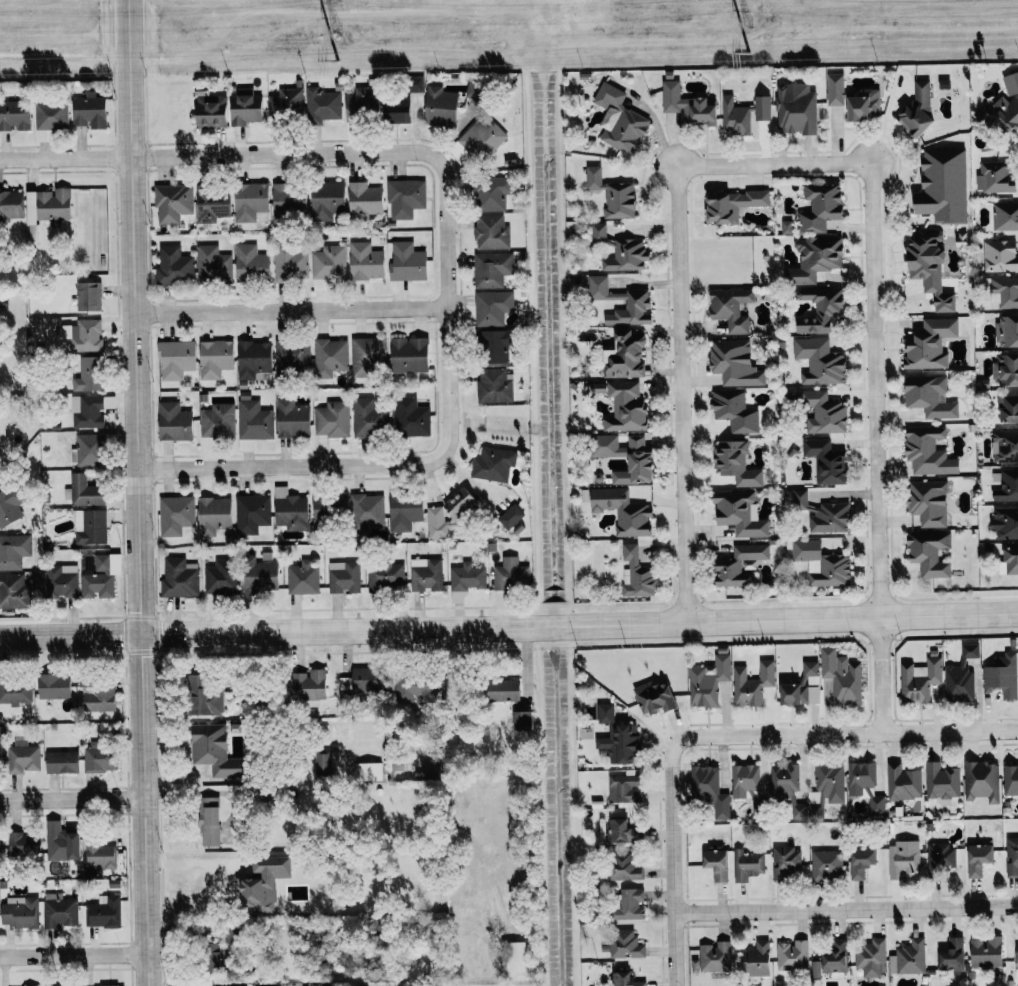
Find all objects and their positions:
power tower: (335, 2)
power tower: (747, 22)
power tower: (335, 30)
power tower: (747, 52)
power tower: (335, 60)
building: (1011, 83)
building: (416, 84)
building: (835, 89)
building: (363, 103)
building: (286, 104)
building: (863, 104)
building: (322, 105)
building: (687, 105)
building: (440, 107)
building: (245, 108)
building: (796, 108)
building: (397, 109)
building: (918, 110)
building: (89, 111)
building: (211, 111)
building: (1005, 112)
building: (743, 114)
building: (14, 115)
building: (51, 115)
building: (619, 120)
building: (482, 137)
road: (296, 153)
building: (994, 177)
building: (943, 186)
building: (491, 193)
building: (613, 194)
building: (405, 197)
building: (289, 198)
building: (327, 199)
building: (364, 200)
building: (173, 202)
building: (212, 203)
building: (11, 204)
building: (48, 205)
building: (732, 205)
building: (820, 207)
building: (1005, 216)
building: (787, 227)
building: (491, 232)
building: (621, 251)
building: (1000, 256)
building: (815, 259)
building: (366, 261)
building: (291, 262)
building: (329, 262)
building: (407, 262)
building: (251, 263)
building: (213, 265)
building: (174, 266)
building: (930, 266)
building: (492, 269)
building: (601, 289)
building: (1004, 293)
building: (88, 296)
building: (492, 307)
building: (731, 308)
building: (820, 309)
building: (632, 310)
road: (295, 313)
building: (1007, 331)
building: (83, 335)
building: (930, 344)
road: (680, 345)
building: (493, 347)
building: (367, 355)
building: (409, 355)
building: (625, 355)
building: (292, 356)
building: (330, 357)
building: (176, 358)
building: (215, 358)
building: (253, 359)
building: (820, 361)
building: (735, 363)
building: (1006, 369)
building: (88, 374)
building: (494, 386)
building: (598, 388)
building: (929, 396)
road: (874, 399)
building: (626, 407)
building: (1008, 409)
building: (87, 411)
building: (734, 411)
building: (824, 412)
building: (411, 417)
building: (292, 418)
building: (368, 418)
building: (253, 419)
building: (332, 419)
building: (174, 422)
building: (217, 422)
building: (1005, 447)
building: (87, 450)
building: (928, 452)
building: (827, 461)
building: (640, 463)
building: (493, 464)
building: (736, 464)
road: (369, 466)
building: (1005, 485)
building: (85, 491)
road: (143, 492)
building: (929, 502)
building: (460, 504)
building: (10, 506)
building: (290, 510)
building: (367, 511)
building: (623, 511)
building: (404, 512)
building: (252, 513)
building: (740, 513)
building: (822, 514)
building: (175, 515)
building: (213, 515)
building: (511, 516)
building: (1006, 522)
building: (437, 523)
building: (90, 527)
building: (13, 550)
building: (930, 553)
building: (1009, 562)
building: (822, 563)
building: (739, 565)
building: (426, 574)
building: (511, 574)
building: (637, 574)
building: (259, 575)
building: (385, 575)
building: (221, 576)
building: (101, 577)
building: (344, 577)
building: (179, 578)
building: (303, 578)
building: (466, 580)
building: (61, 581)
building: (18, 590)
road: (508, 622)
building: (970, 650)
building: (1002, 675)
building: (842, 676)
building: (920, 679)
building: (708, 680)
building: (367, 681)
building: (959, 682)
building: (752, 683)
building: (309, 684)
building: (54, 686)
building: (803, 686)
building: (503, 690)
building: (15, 691)
building: (935, 692)
building: (408, 693)
building: (96, 695)
building: (204, 697)
building: (655, 697)
building: (605, 713)
building: (522, 719)
road: (845, 733)
building: (620, 742)
building: (214, 751)
building: (0, 753)
building: (99, 757)
building: (23, 758)
building: (61, 761)
building: (325, 761)
building: (432, 770)
building: (368, 771)
building: (744, 779)
building: (982, 780)
building: (903, 782)
building: (942, 782)
building: (786, 785)
building: (865, 785)
building: (826, 787)
building: (624, 789)
building: (709, 790)
road: (71, 799)
building: (209, 821)
building: (622, 829)
building: (54, 839)
building: (21, 843)
building: (99, 854)
building: (940, 855)
building: (1012, 856)
building: (903, 858)
building: (979, 858)
building: (786, 861)
building: (861, 861)
building: (717, 863)
road: (673, 864)
building: (747, 864)
building: (826, 864)
building: (623, 867)
building: (261, 882)
road: (214, 883)
building: (630, 904)
road: (846, 909)
building: (58, 910)
building: (19, 911)
building: (103, 911)
building: (625, 944)
building: (986, 951)
building: (953, 953)
building: (792, 955)
building: (871, 956)
building: (216, 957)
building: (909, 957)
building: (514, 958)
building: (713, 958)
road: (74, 959)
building: (756, 959)
building: (836, 959)
building: (1017, 961)
building: (816, 968)
building: (625, 979)
building: (61, 985)
building: (110, 985)
building: (272, 985)

